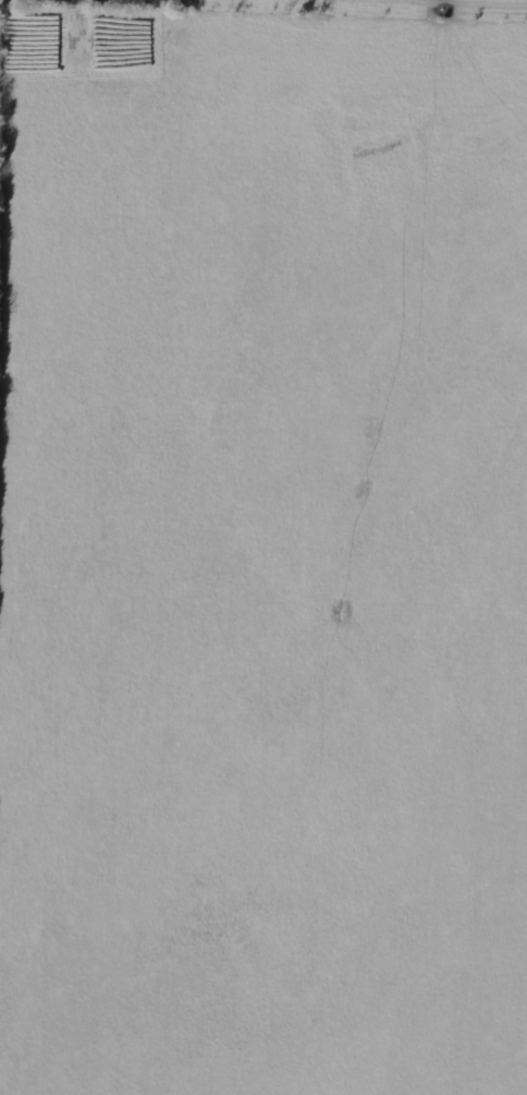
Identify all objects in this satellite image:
road: (35, 27)

